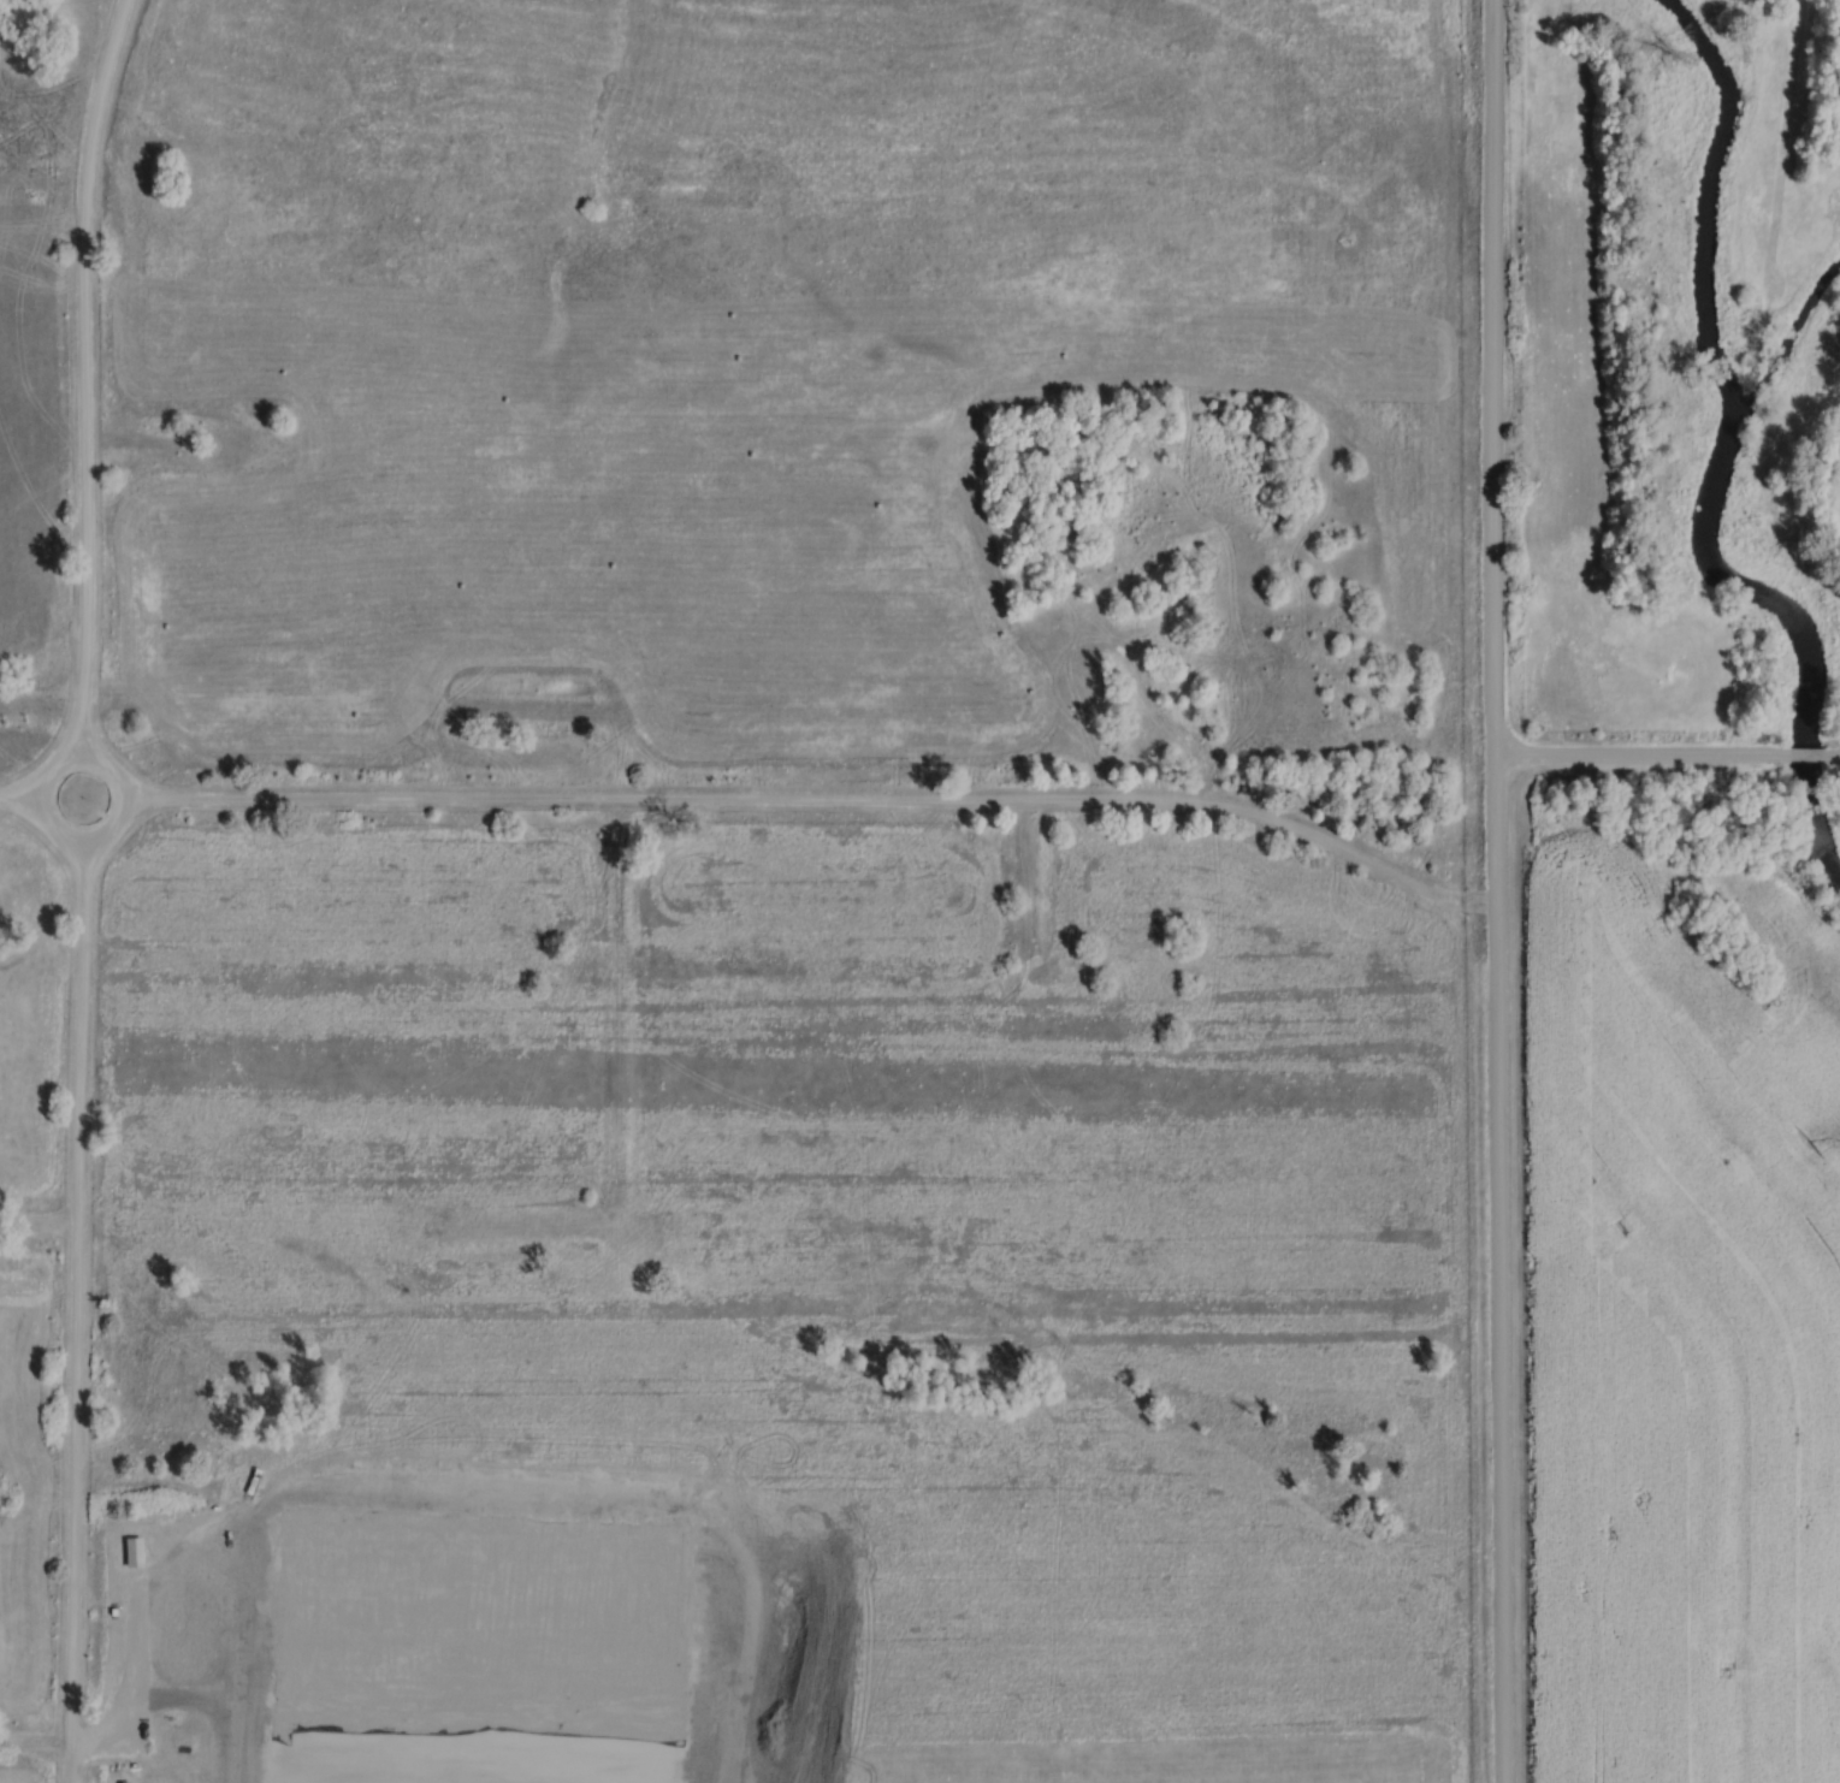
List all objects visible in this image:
road: (87, 371)
river: (1723, 464)
road: (1812, 757)
road: (1640, 759)
road: (126, 784)
road: (16, 795)
road: (822, 805)
road: (1495, 892)
road: (76, 1314)

